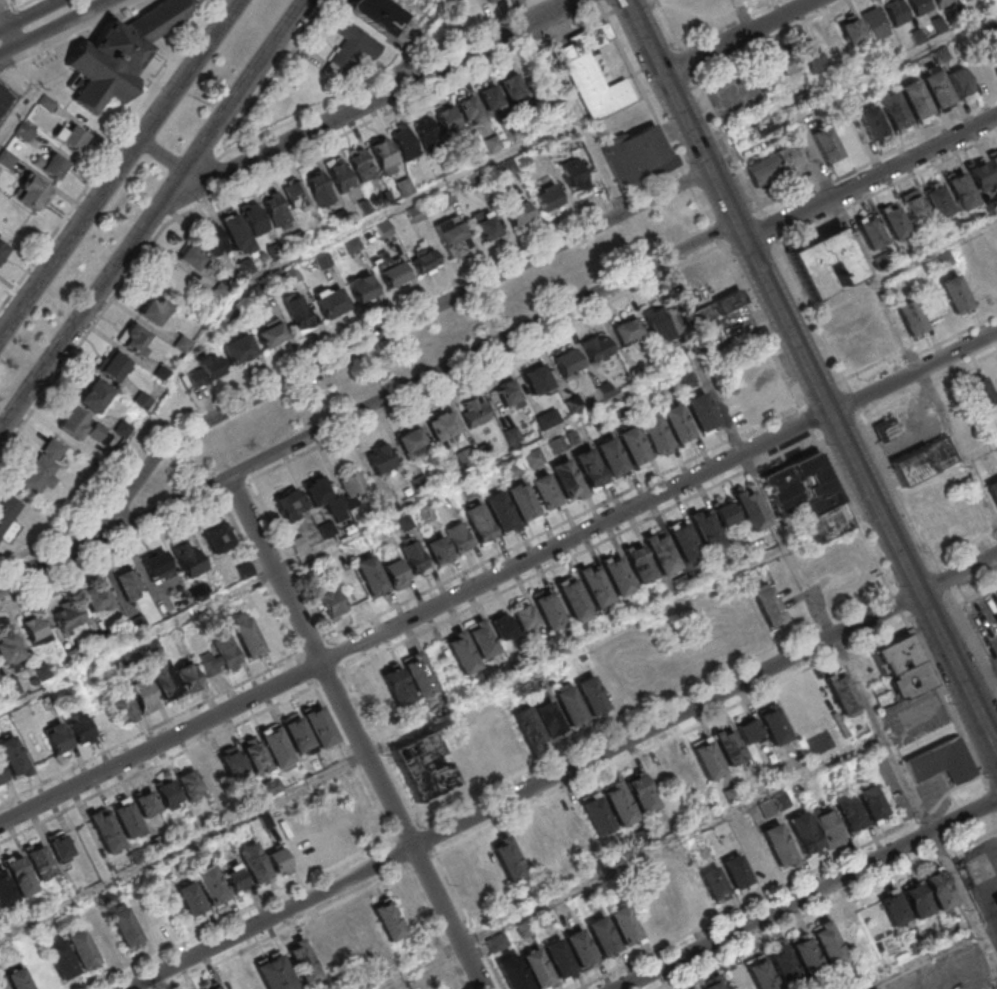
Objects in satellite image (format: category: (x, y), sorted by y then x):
building: (490, 0)
building: (494, 1)
road: (24, 3)
building: (942, 3)
building: (918, 6)
road: (765, 9)
road: (525, 11)
building: (896, 13)
road: (30, 15)
building: (377, 15)
road: (86, 23)
building: (876, 25)
road: (27, 27)
road: (56, 27)
road: (7, 30)
building: (852, 31)
road: (741, 37)
road: (421, 43)
building: (830, 44)
building: (353, 46)
building: (121, 55)
road: (19, 57)
building: (797, 58)
road: (895, 63)
building: (994, 63)
building: (980, 72)
building: (595, 74)
building: (961, 83)
building: (512, 87)
building: (938, 91)
building: (489, 97)
road: (30, 99)
parking lot: (7, 101)
building: (916, 101)
road: (366, 102)
building: (469, 109)
road: (685, 111)
building: (895, 113)
road: (579, 116)
building: (446, 119)
building: (873, 124)
building: (771, 125)
building: (24, 131)
building: (426, 132)
building: (72, 137)
building: (403, 141)
road: (915, 141)
building: (828, 147)
road: (109, 154)
road: (163, 155)
building: (383, 156)
building: (6, 158)
building: (640, 158)
building: (360, 163)
building: (994, 164)
building: (51, 165)
building: (776, 165)
road: (121, 167)
road: (922, 170)
building: (339, 174)
building: (573, 176)
road: (873, 180)
building: (404, 186)
building: (318, 187)
building: (33, 192)
building: (294, 194)
building: (962, 194)
road: (415, 198)
building: (547, 198)
building: (940, 204)
building: (914, 209)
building: (275, 210)
building: (415, 213)
building: (518, 214)
road: (153, 216)
building: (253, 220)
building: (893, 222)
building: (486, 225)
road: (746, 233)
building: (236, 234)
building: (452, 235)
building: (873, 235)
building: (212, 240)
building: (3, 248)
road: (936, 249)
building: (190, 258)
building: (425, 258)
road: (866, 261)
building: (824, 263)
building: (395, 272)
building: (363, 289)
building: (956, 297)
building: (331, 304)
building: (731, 304)
building: (155, 311)
building: (298, 313)
building: (703, 318)
building: (911, 321)
building: (654, 322)
building: (627, 331)
road: (385, 332)
building: (270, 334)
building: (134, 339)
building: (597, 349)
building: (238, 350)
road: (913, 354)
building: (566, 363)
building: (112, 365)
building: (205, 370)
road: (915, 373)
building: (993, 376)
building: (536, 381)
building: (687, 382)
road: (419, 384)
building: (506, 394)
building: (95, 395)
building: (983, 399)
road: (855, 404)
building: (473, 413)
building: (703, 414)
building: (547, 420)
building: (677, 425)
building: (84, 426)
building: (442, 427)
building: (122, 428)
building: (889, 431)
building: (655, 435)
building: (512, 436)
road: (545, 440)
building: (412, 442)
building: (557, 446)
building: (633, 448)
road: (980, 448)
road: (744, 450)
building: (465, 459)
building: (534, 459)
building: (611, 459)
building: (379, 460)
building: (926, 461)
building: (43, 466)
building: (590, 471)
building: (566, 481)
building: (801, 483)
building: (352, 485)
road: (873, 492)
building: (994, 492)
building: (545, 493)
road: (899, 493)
building: (321, 495)
building: (523, 503)
building: (826, 503)
building: (289, 505)
building: (750, 508)
building: (725, 513)
building: (500, 514)
building: (8, 515)
building: (479, 524)
building: (830, 525)
building: (705, 530)
building: (326, 531)
building: (217, 535)
building: (458, 538)
road: (962, 539)
building: (683, 542)
road: (110, 546)
building: (438, 549)
building: (660, 553)
building: (187, 558)
building: (415, 558)
building: (639, 564)
building: (155, 565)
road: (48, 566)
road: (959, 572)
road: (259, 573)
building: (395, 573)
building: (617, 574)
building: (371, 576)
road: (942, 580)
building: (127, 585)
building: (594, 585)
building: (352, 595)
building: (97, 599)
building: (572, 600)
building: (331, 603)
building: (767, 604)
building: (548, 610)
building: (68, 616)
building: (524, 616)
road: (417, 619)
building: (503, 627)
building: (36, 629)
building: (248, 638)
road: (972, 638)
building: (481, 639)
road: (139, 641)
building: (9, 647)
building: (461, 652)
building: (897, 655)
building: (223, 656)
building: (187, 676)
building: (163, 679)
building: (409, 680)
building: (912, 681)
building: (142, 692)
building: (842, 692)
building: (375, 693)
building: (590, 697)
building: (569, 706)
building: (124, 708)
building: (536, 724)
building: (319, 725)
building: (774, 726)
building: (80, 730)
road: (150, 730)
road: (357, 733)
building: (297, 734)
building: (57, 738)
road: (670, 738)
road: (395, 741)
building: (736, 741)
building: (267, 752)
building: (13, 757)
building: (231, 762)
building: (943, 763)
building: (696, 766)
building: (422, 767)
building: (210, 772)
building: (2, 773)
building: (189, 783)
road: (526, 791)
road: (952, 791)
building: (167, 793)
building: (640, 794)
road: (911, 801)
building: (145, 802)
building: (618, 803)
building: (870, 803)
building: (848, 814)
building: (595, 816)
road: (920, 817)
building: (126, 818)
building: (571, 820)
building: (337, 823)
building: (827, 828)
building: (105, 829)
building: (316, 833)
building: (804, 836)
building: (554, 837)
road: (430, 838)
road: (972, 842)
building: (60, 846)
road: (938, 847)
building: (529, 849)
building: (779, 849)
building: (299, 851)
building: (501, 860)
building: (40, 861)
building: (278, 861)
road: (423, 862)
building: (254, 863)
road: (631, 863)
building: (19, 874)
building: (234, 878)
building: (713, 882)
building: (211, 887)
building: (937, 889)
building: (6, 892)
road: (806, 892)
road: (985, 892)
building: (191, 899)
building: (915, 900)
building: (666, 901)
building: (996, 903)
road: (749, 904)
building: (892, 908)
road: (470, 919)
building: (387, 920)
road: (794, 920)
building: (647, 922)
building: (124, 926)
road: (436, 927)
building: (625, 927)
road: (291, 928)
building: (364, 929)
building: (102, 936)
building: (601, 937)
building: (344, 941)
building: (81, 947)
building: (578, 949)
building: (800, 955)
building: (60, 957)
building: (558, 960)
road: (925, 961)
building: (303, 962)
building: (526, 972)
building: (275, 973)
building: (41, 974)
building: (18, 979)
building: (2, 983)
building: (210, 985)
building: (711, 985)
building: (456, 987)

